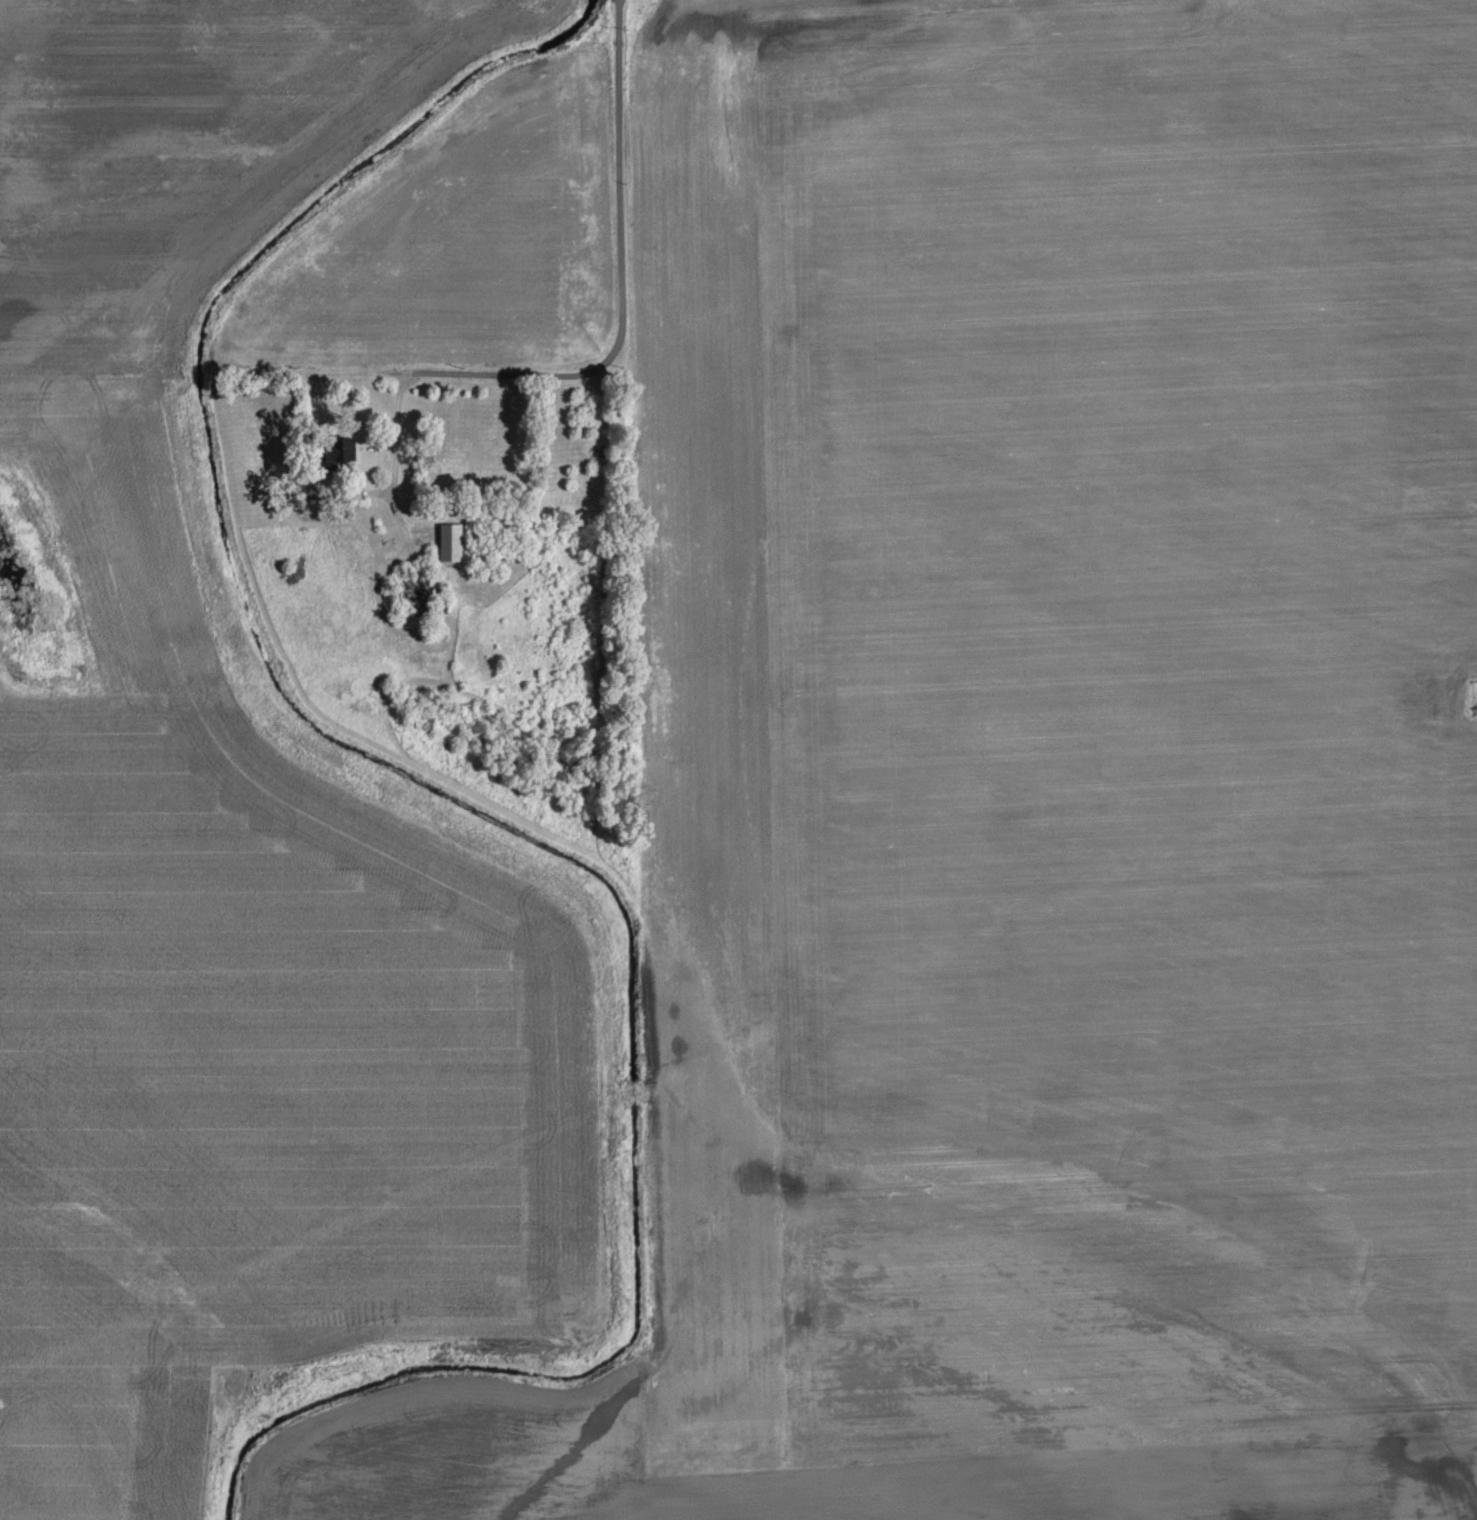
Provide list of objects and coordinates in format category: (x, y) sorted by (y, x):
road: (605, 365)
building: (338, 450)
building: (451, 543)

